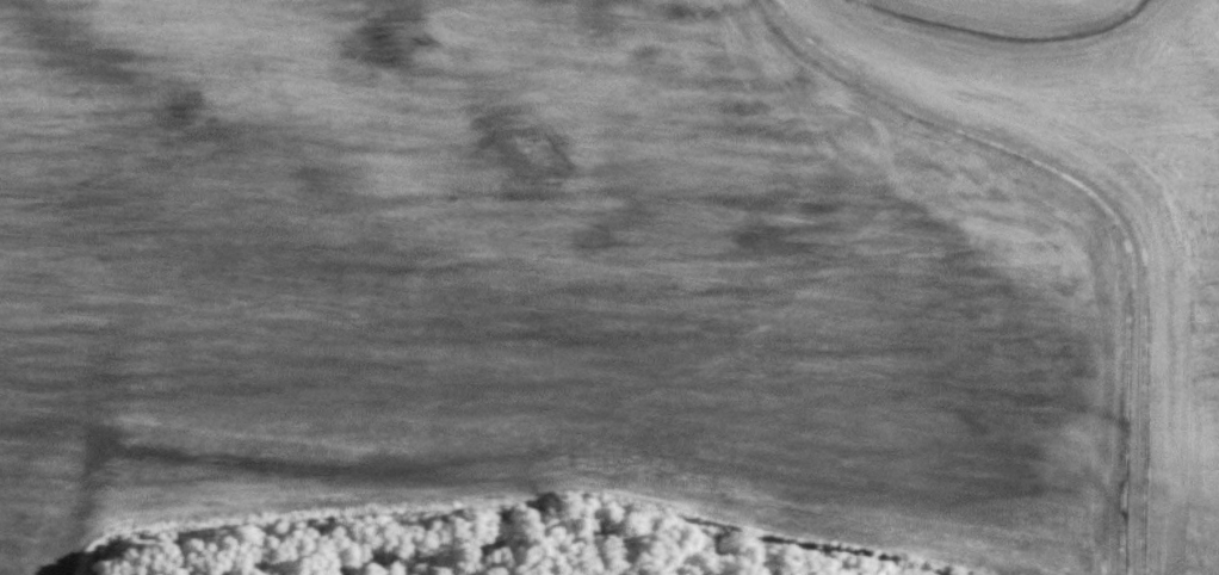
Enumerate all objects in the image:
road: (1101, 192)

